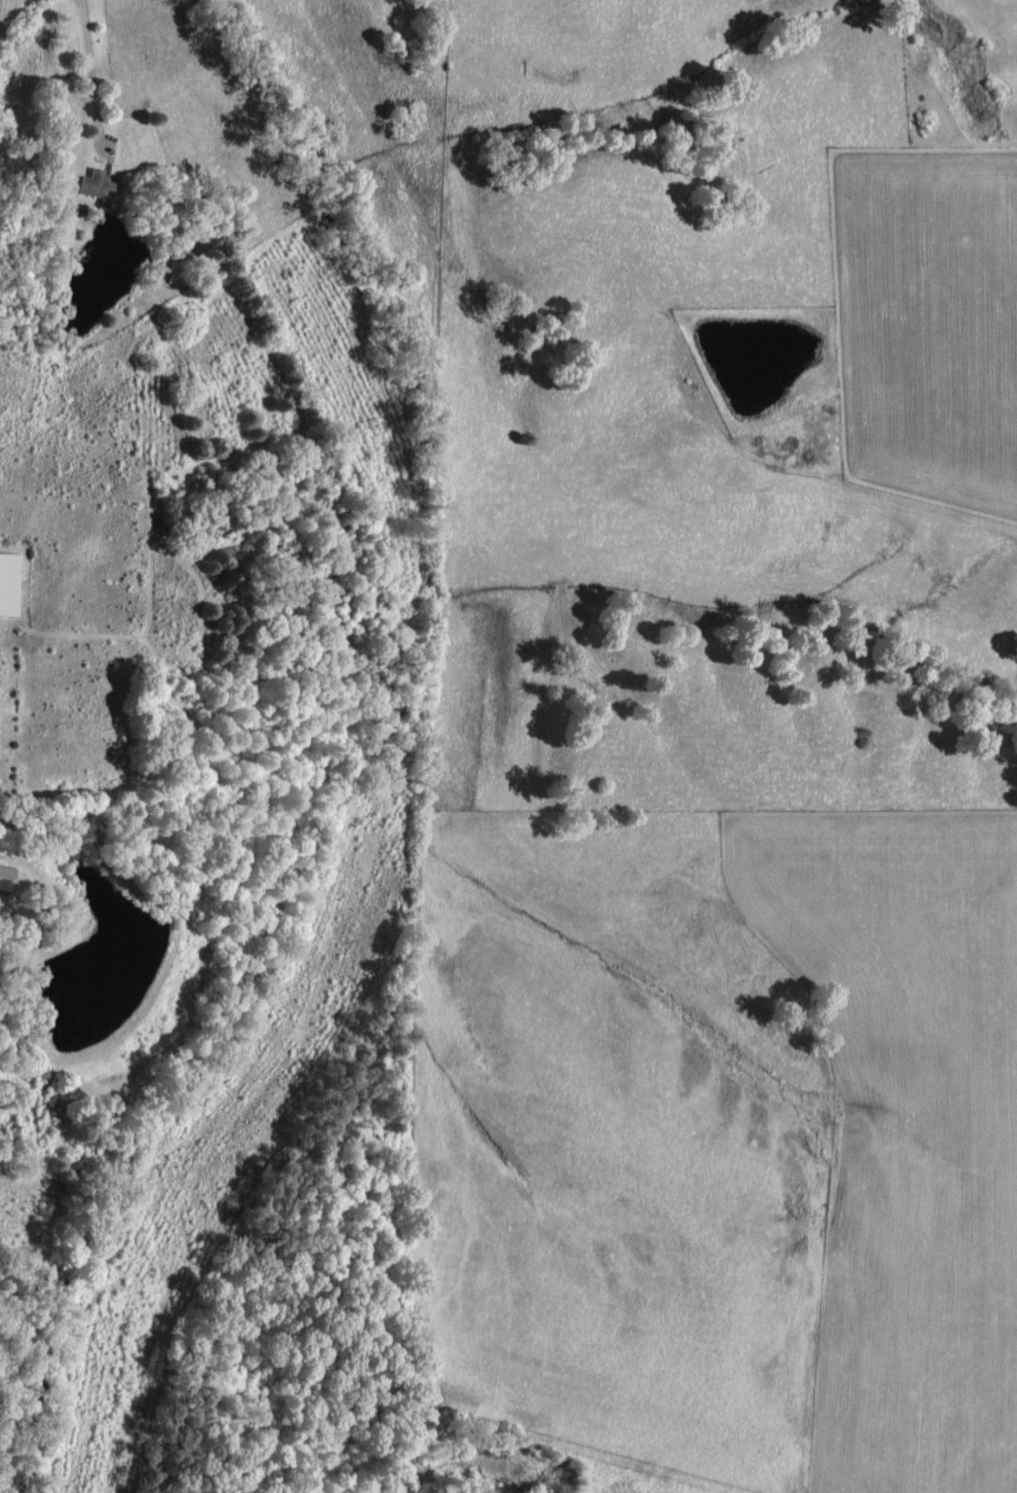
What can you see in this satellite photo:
building: (92, 184)
building: (8, 582)
building: (3, 875)

